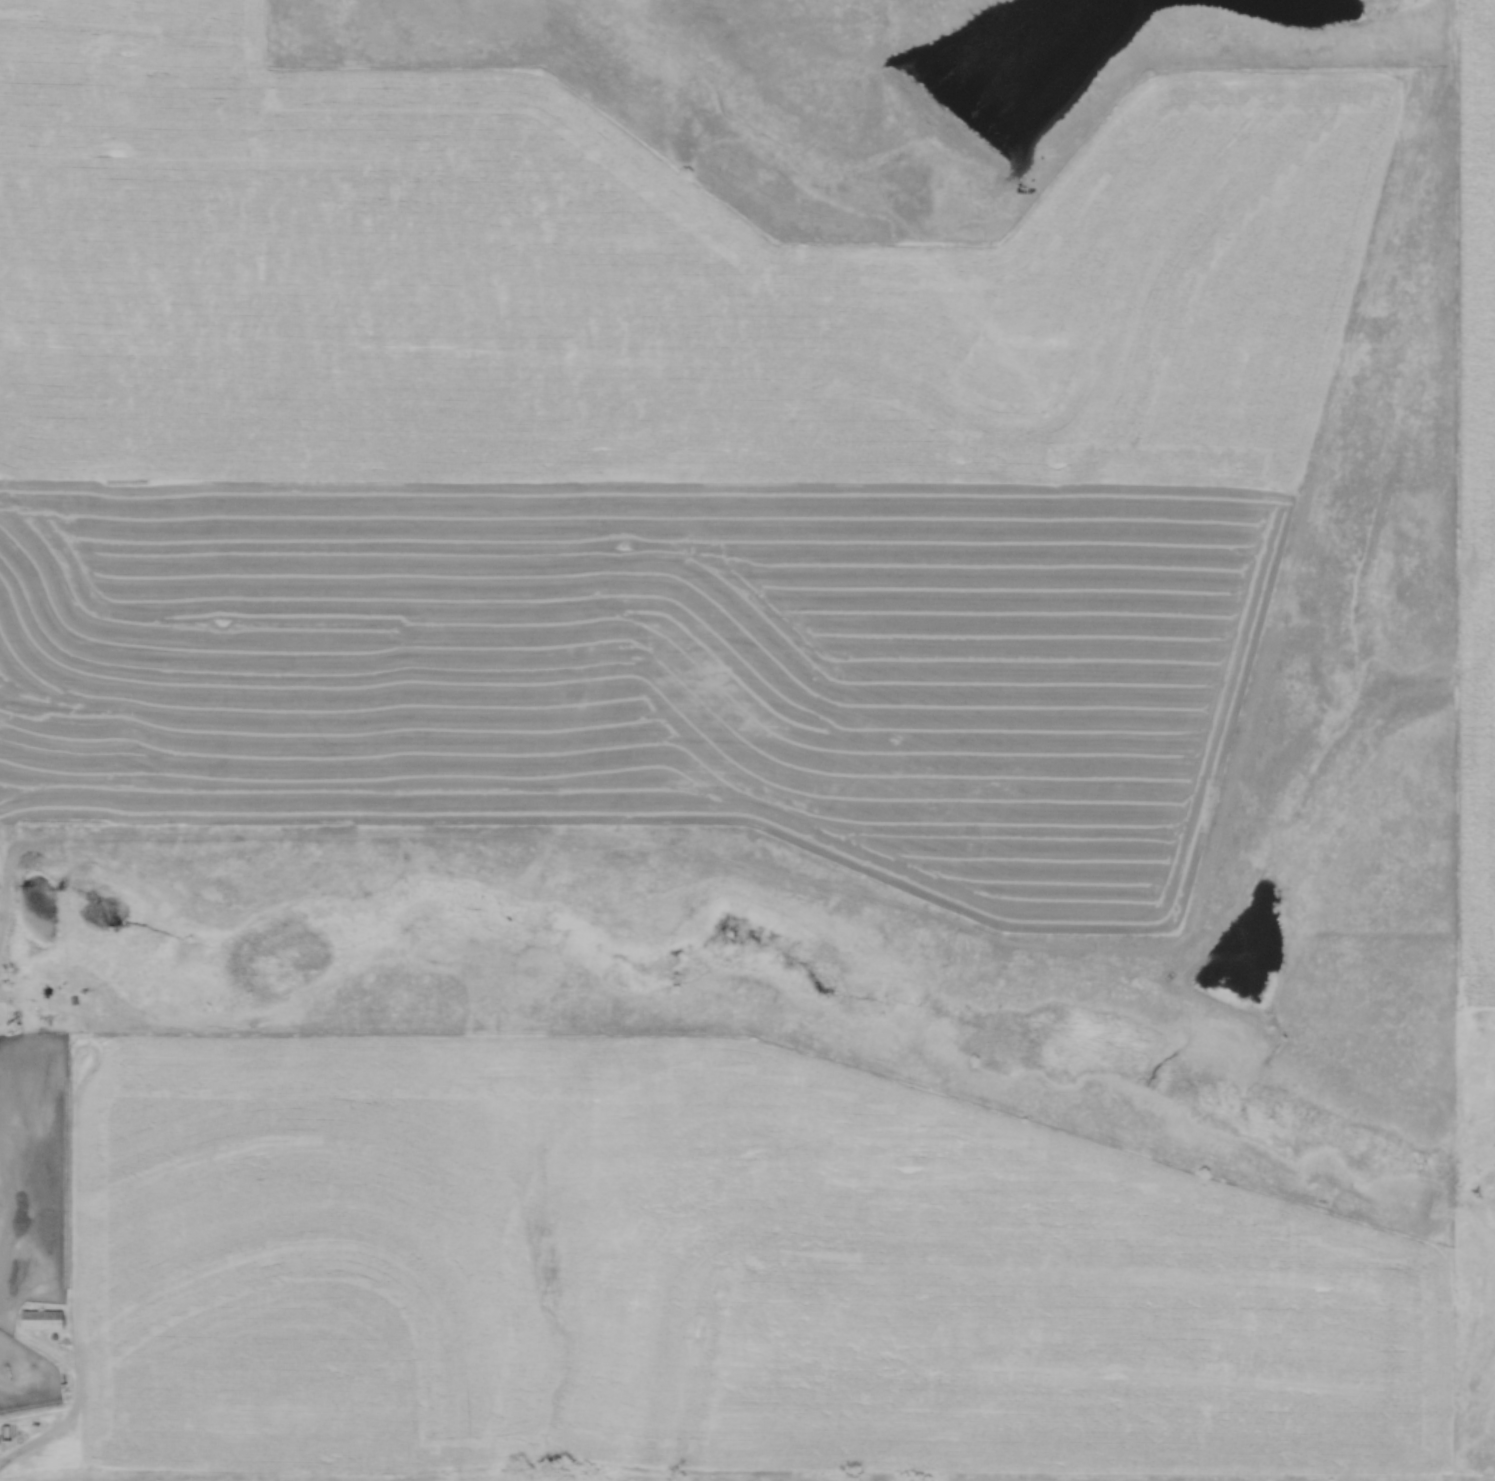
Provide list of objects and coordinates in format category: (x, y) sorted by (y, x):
building: (44, 1319)

